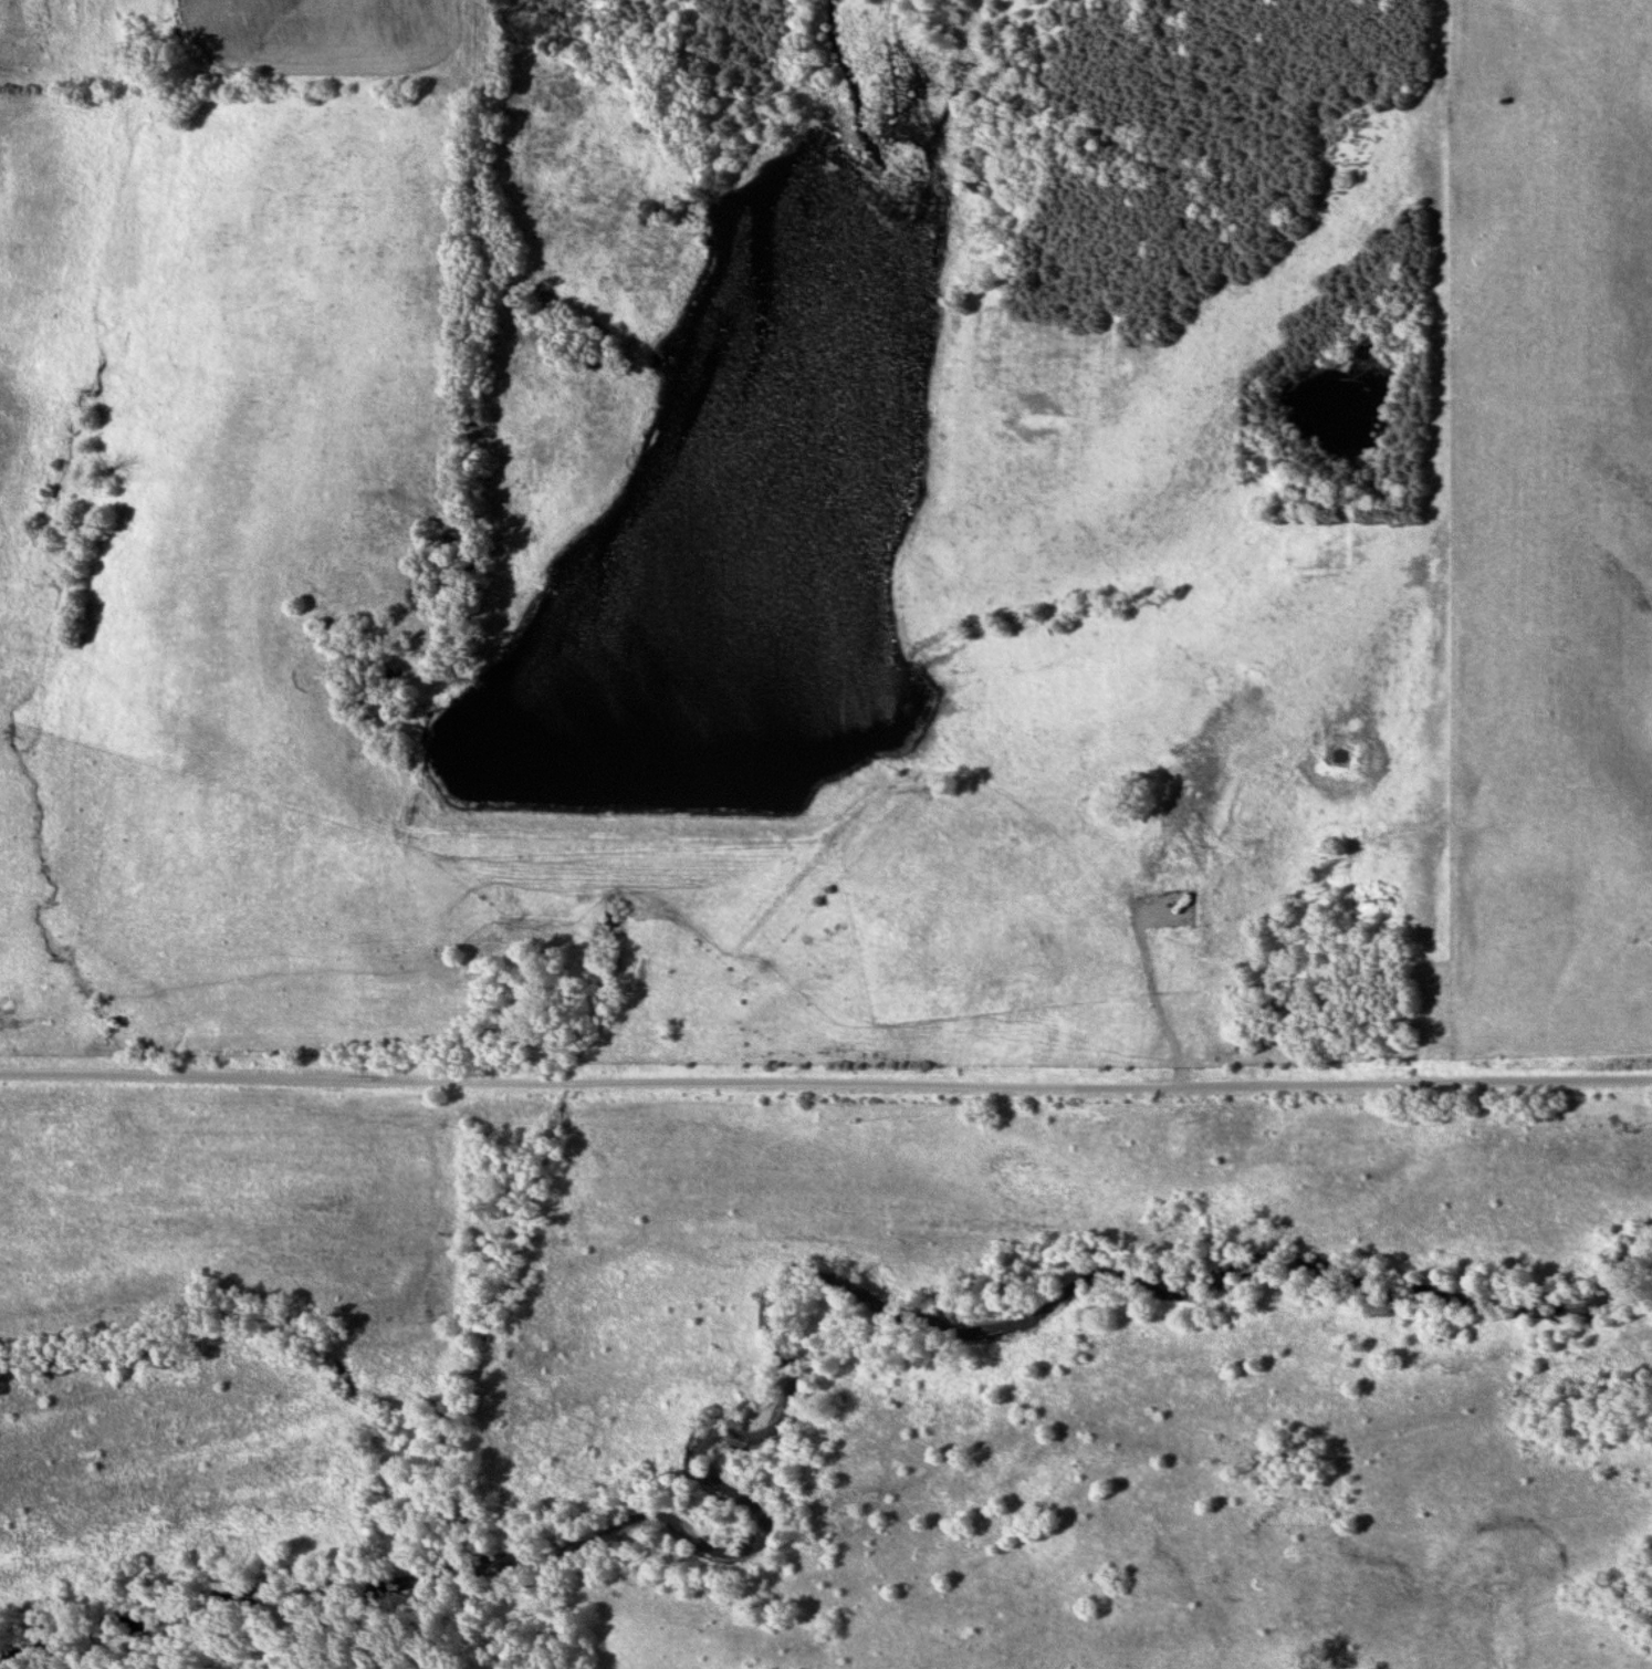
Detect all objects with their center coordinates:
building: (1180, 847)
road: (1225, 984)
road: (826, 1082)

